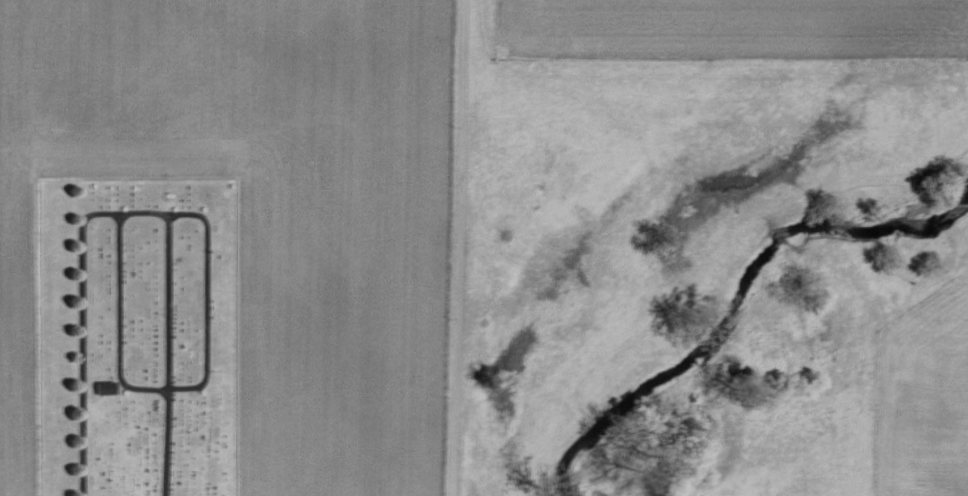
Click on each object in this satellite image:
road: (459, 248)
road: (80, 339)
road: (166, 354)
road: (200, 382)
building: (100, 386)

